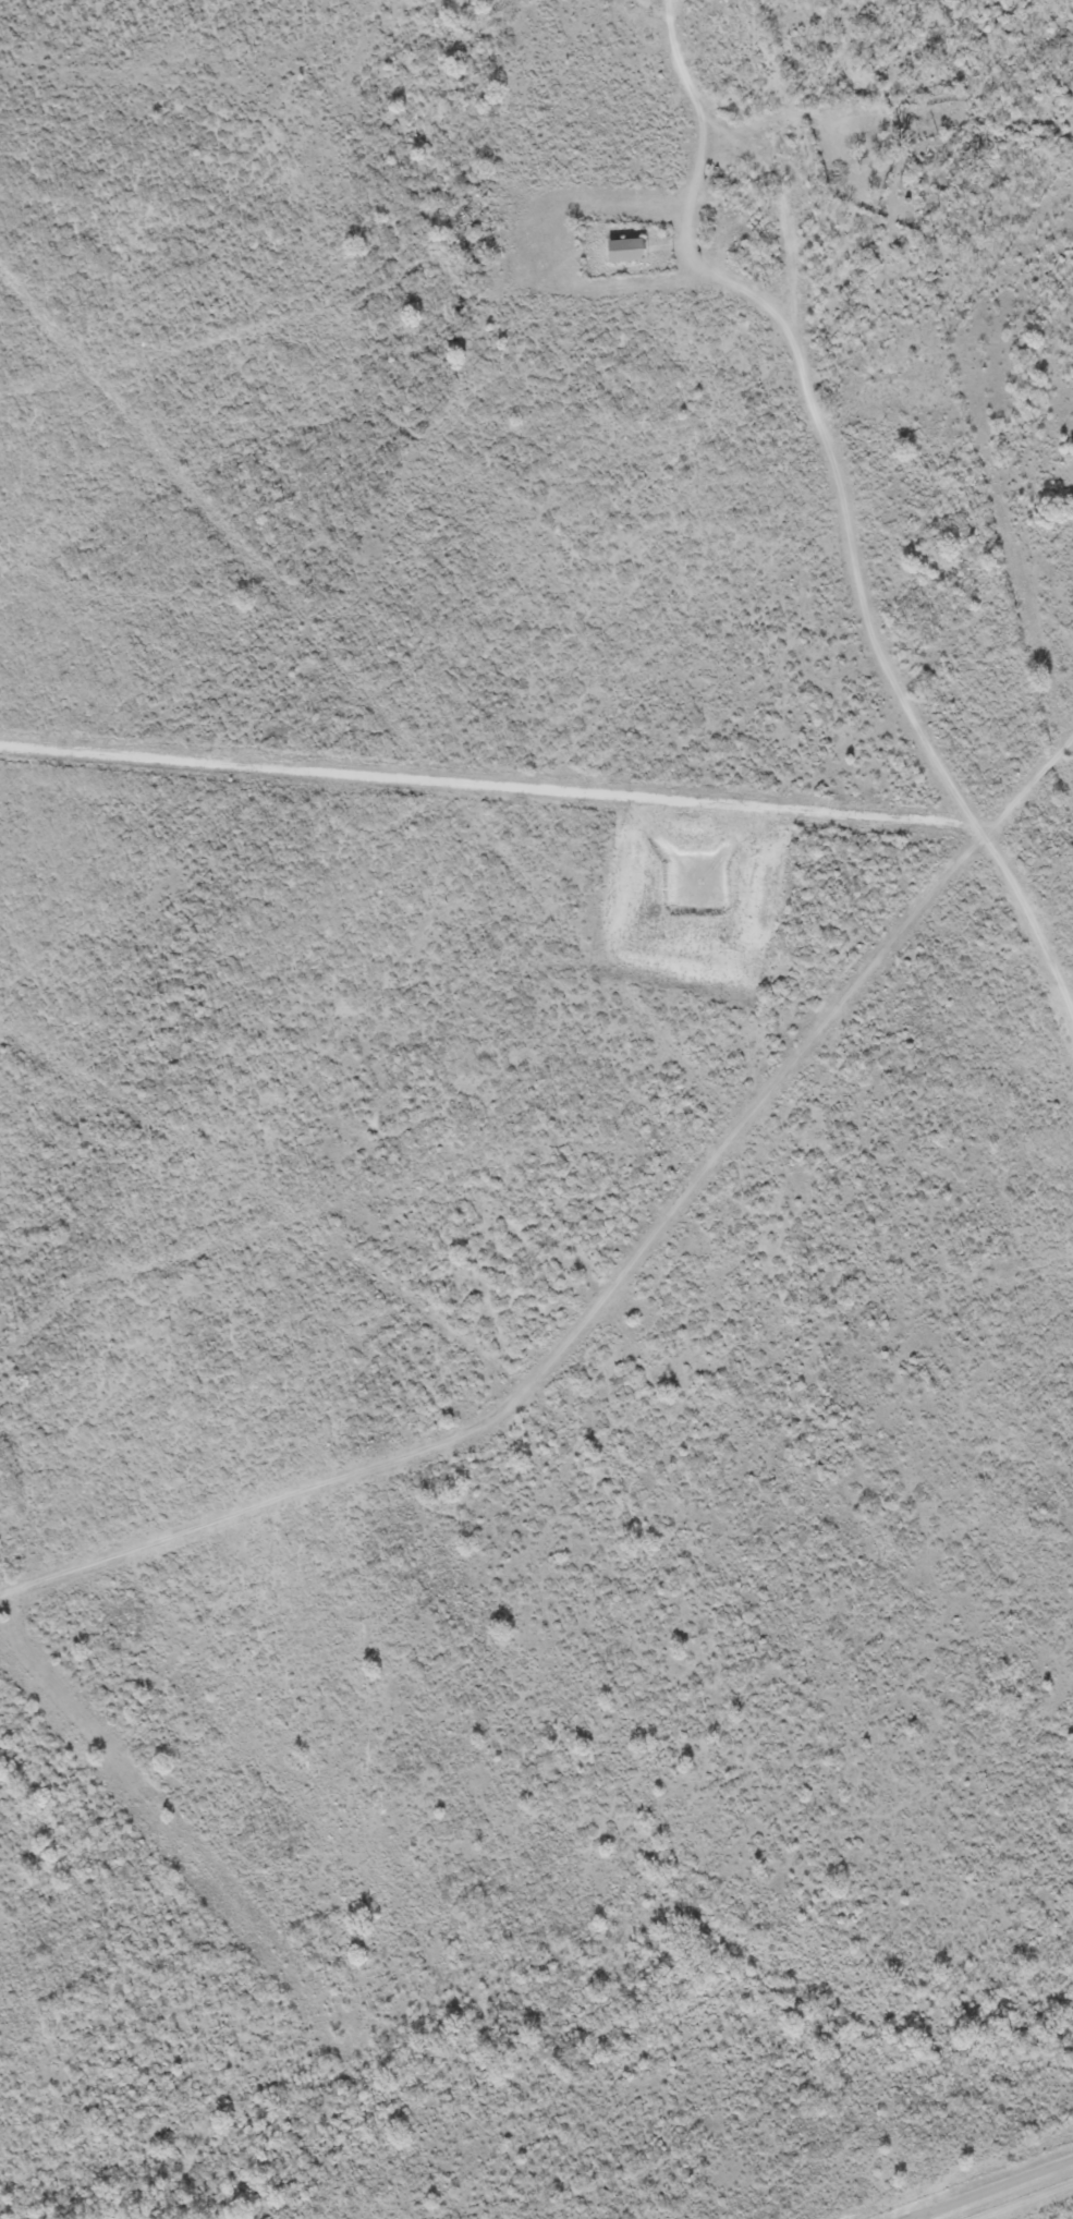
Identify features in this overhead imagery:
building: (627, 248)
road: (997, 2190)

